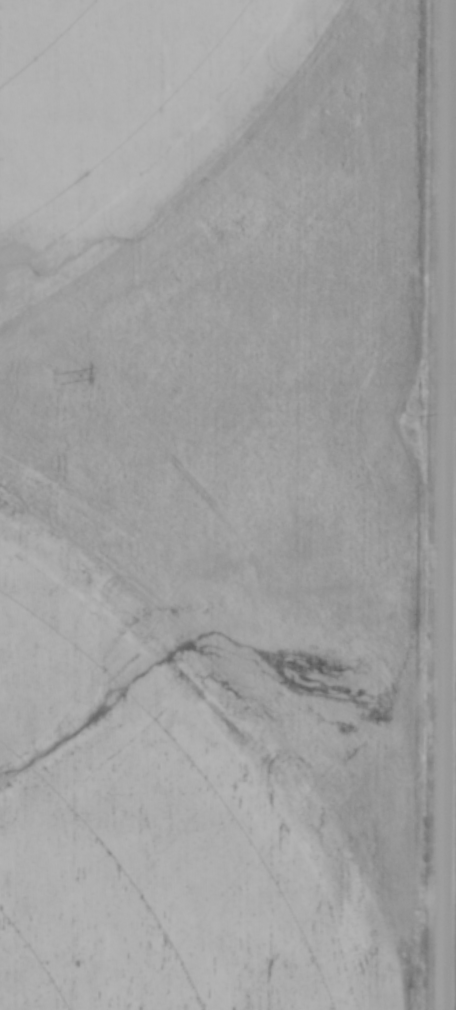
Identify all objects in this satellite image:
power tower: (53, 380)
road: (446, 505)

